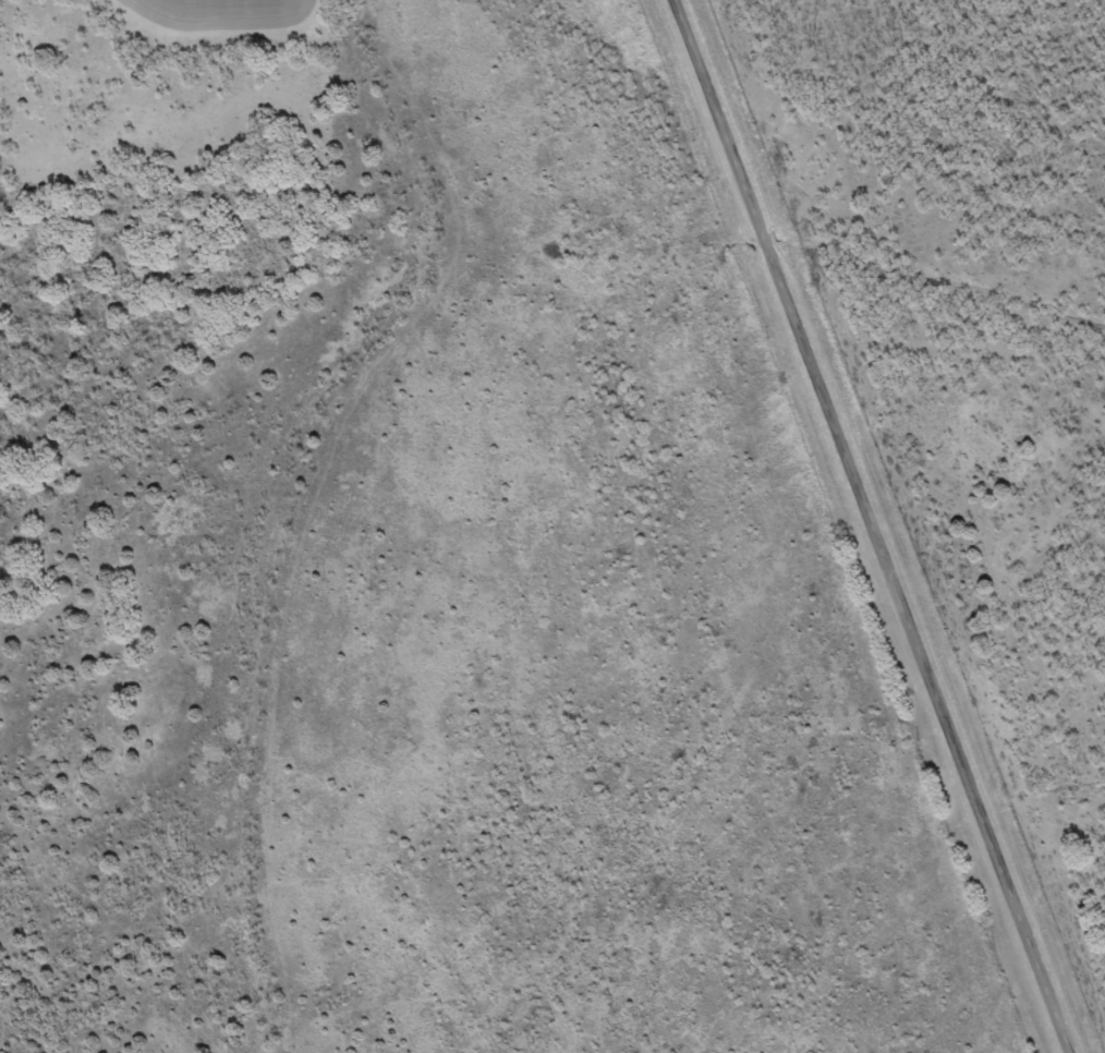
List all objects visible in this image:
road: (874, 526)

